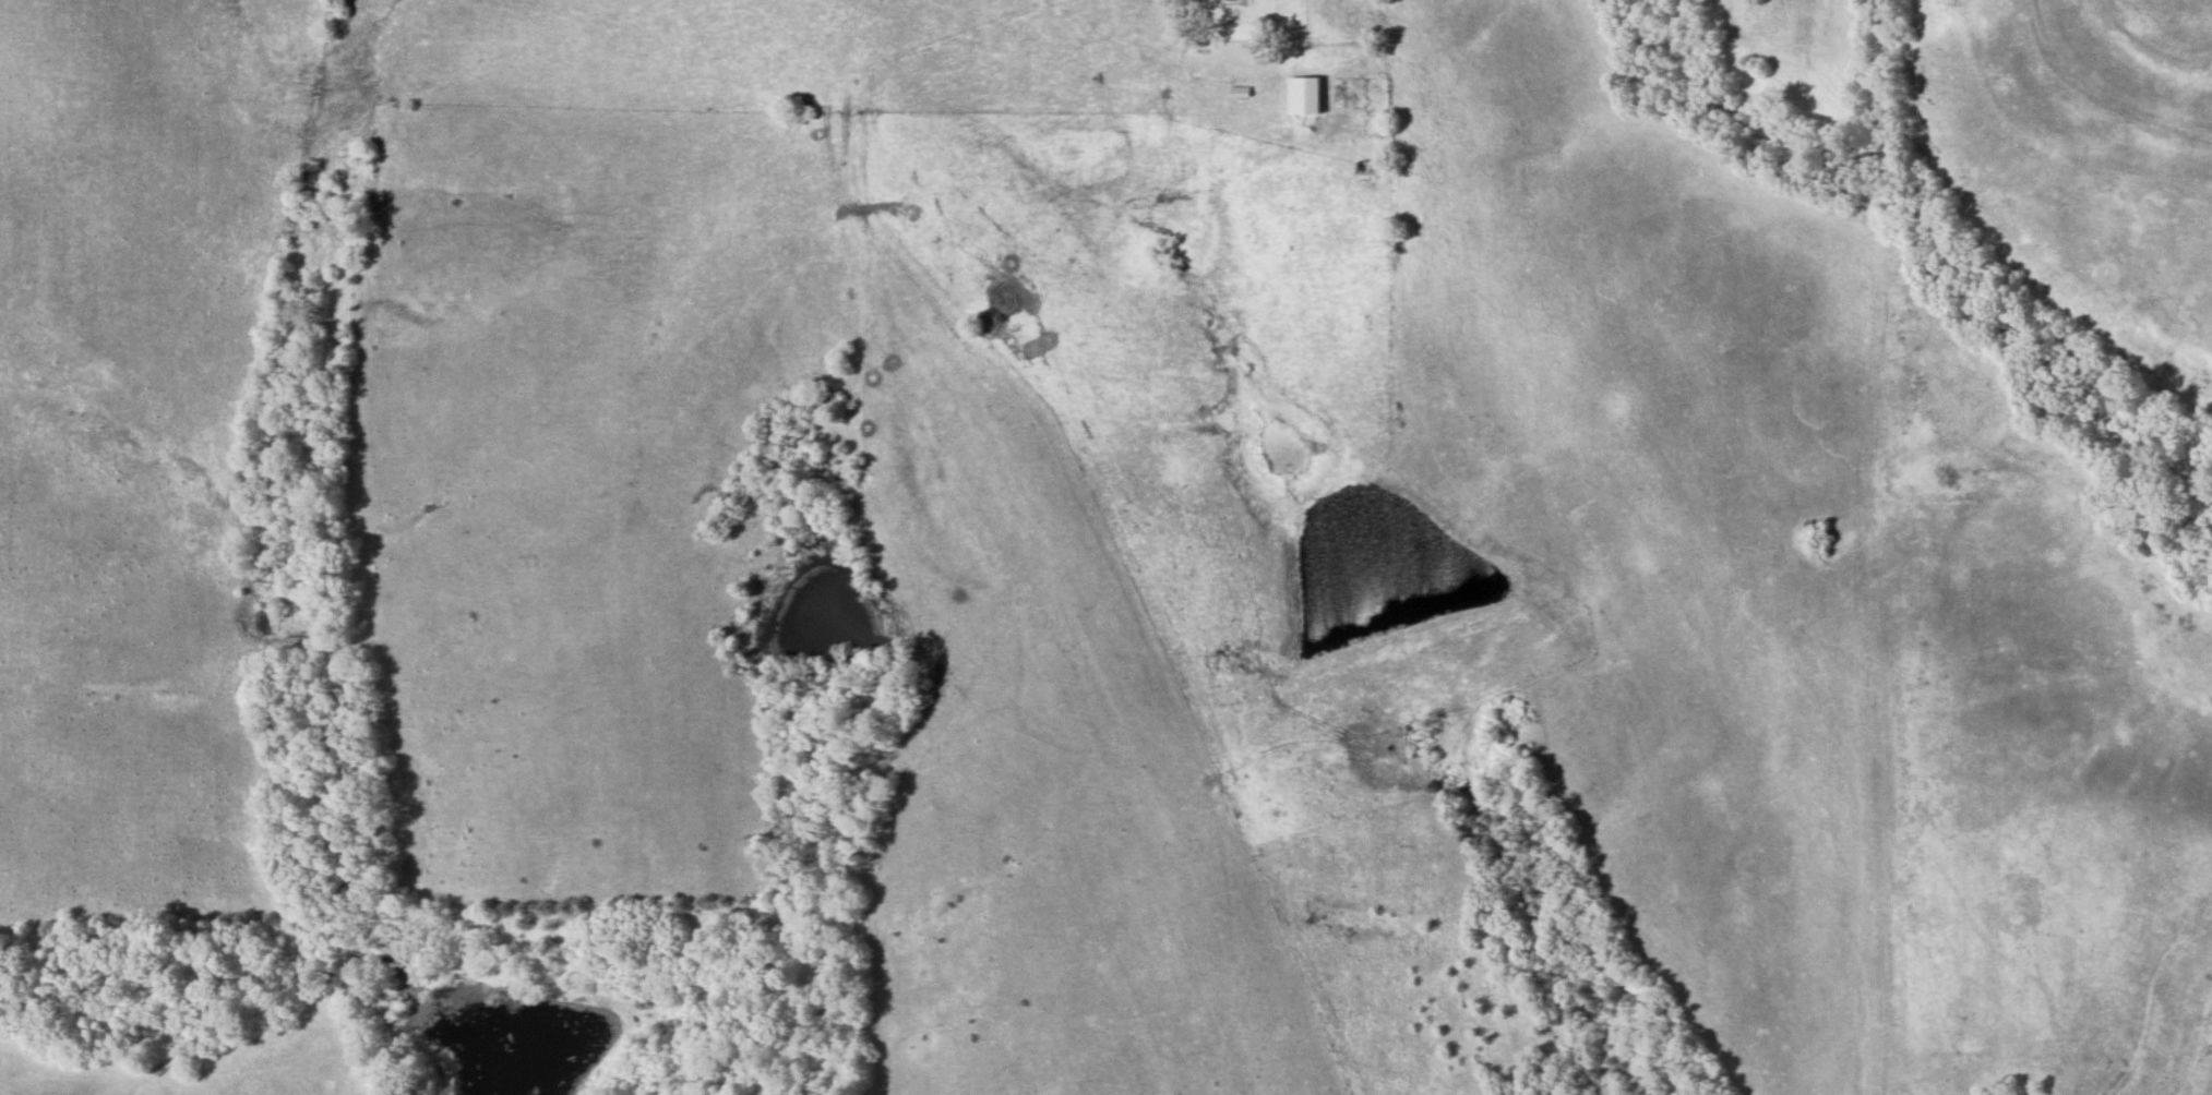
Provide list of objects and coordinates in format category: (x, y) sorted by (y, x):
building: (1234, 91)
building: (1361, 168)

